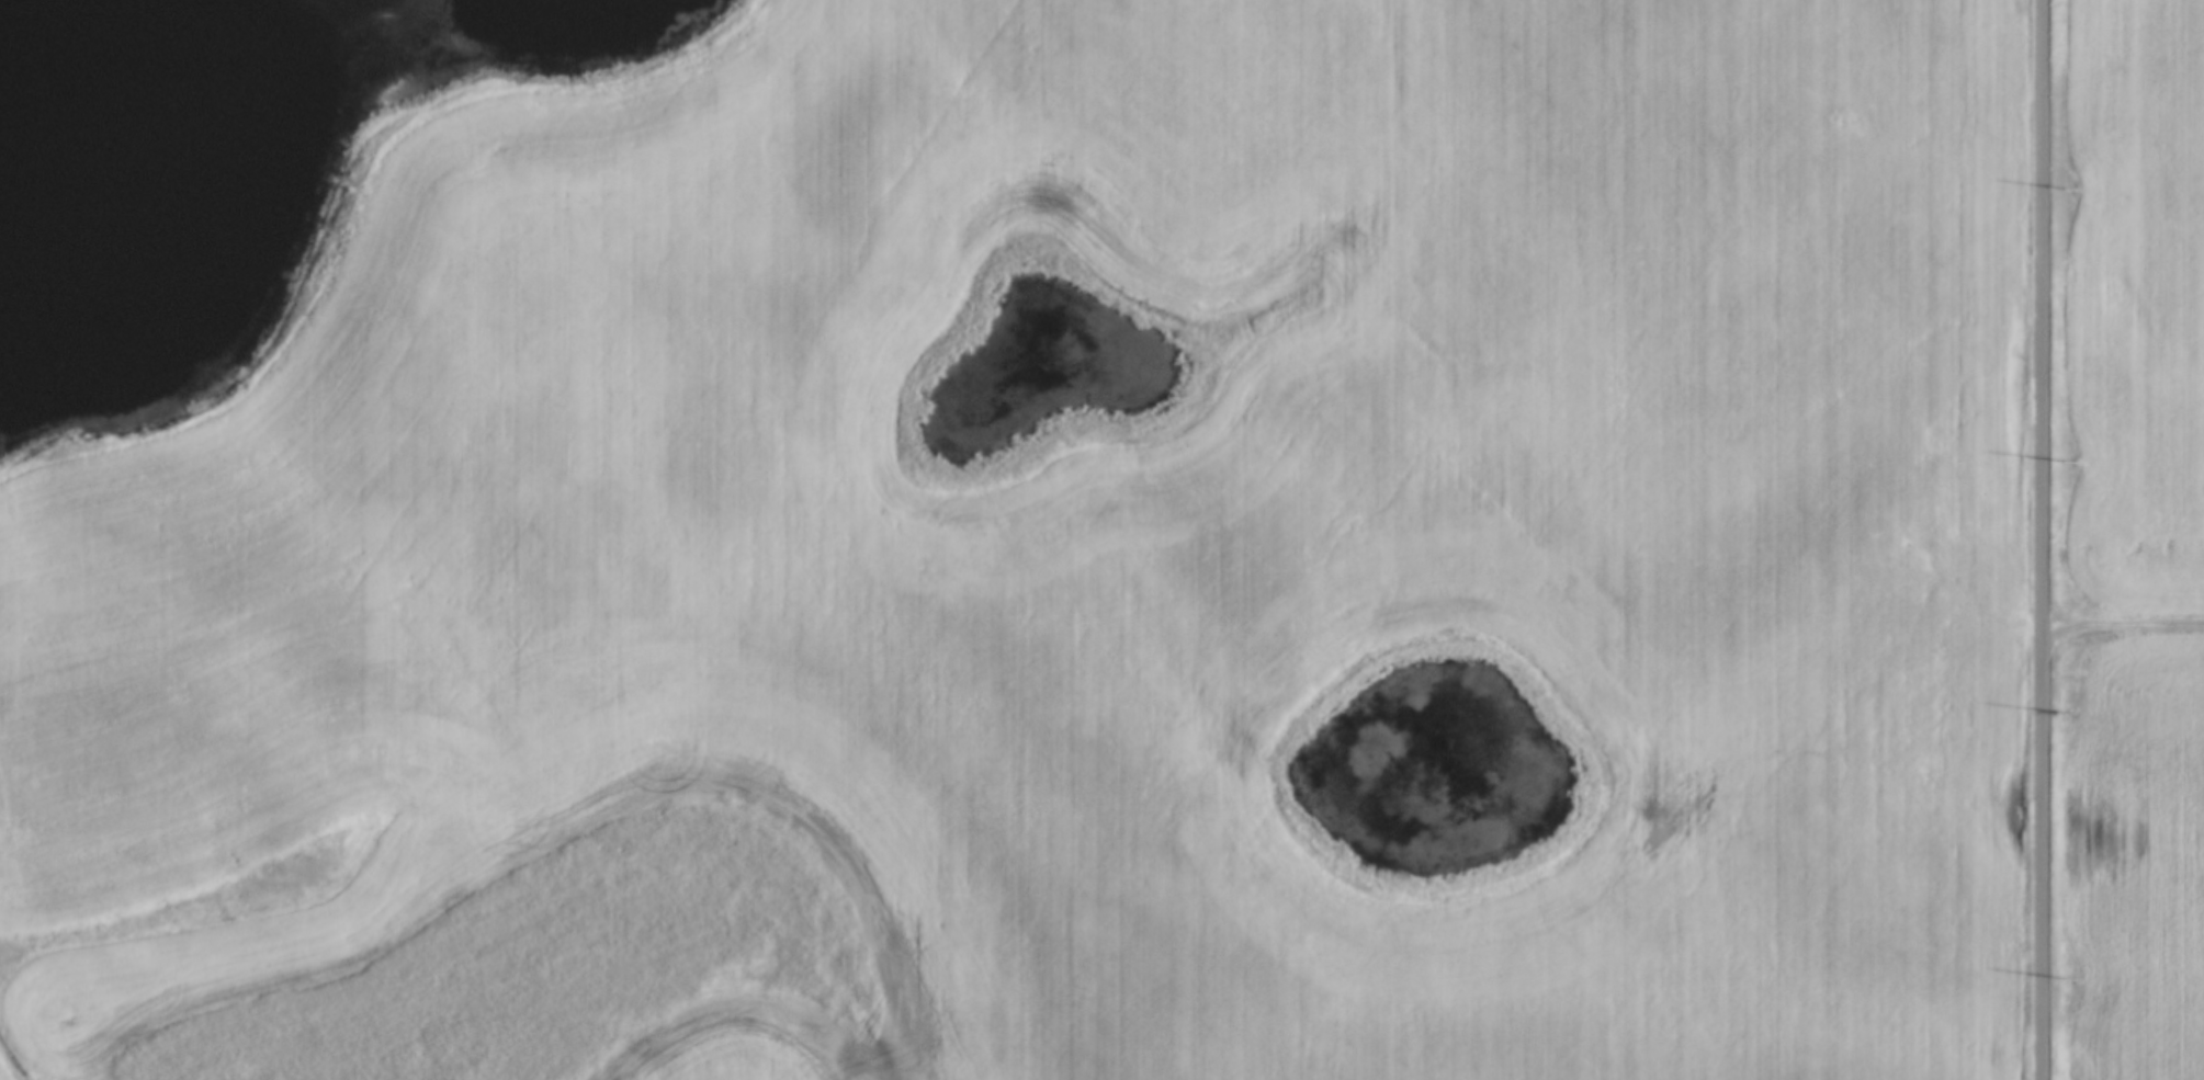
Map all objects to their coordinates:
road: (2043, 539)
road: (2123, 625)

